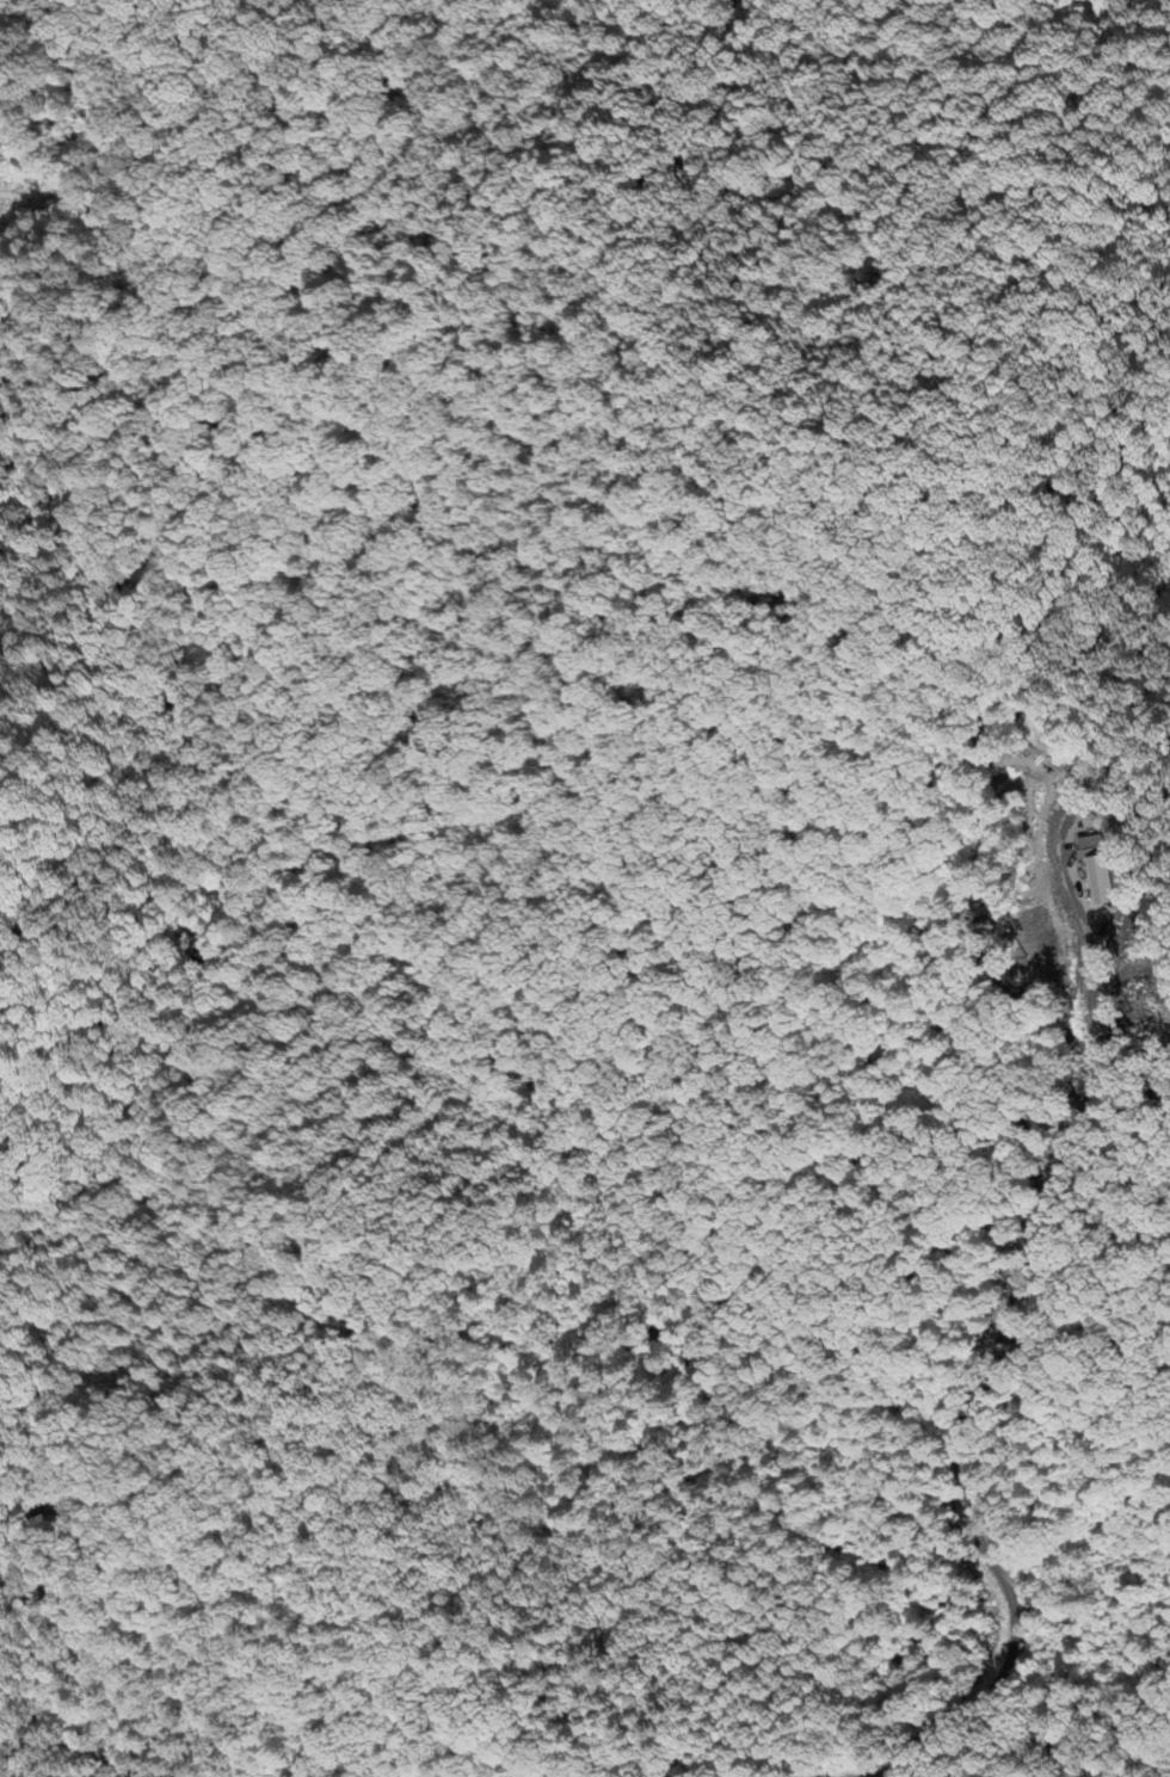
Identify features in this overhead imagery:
building: (1092, 871)

